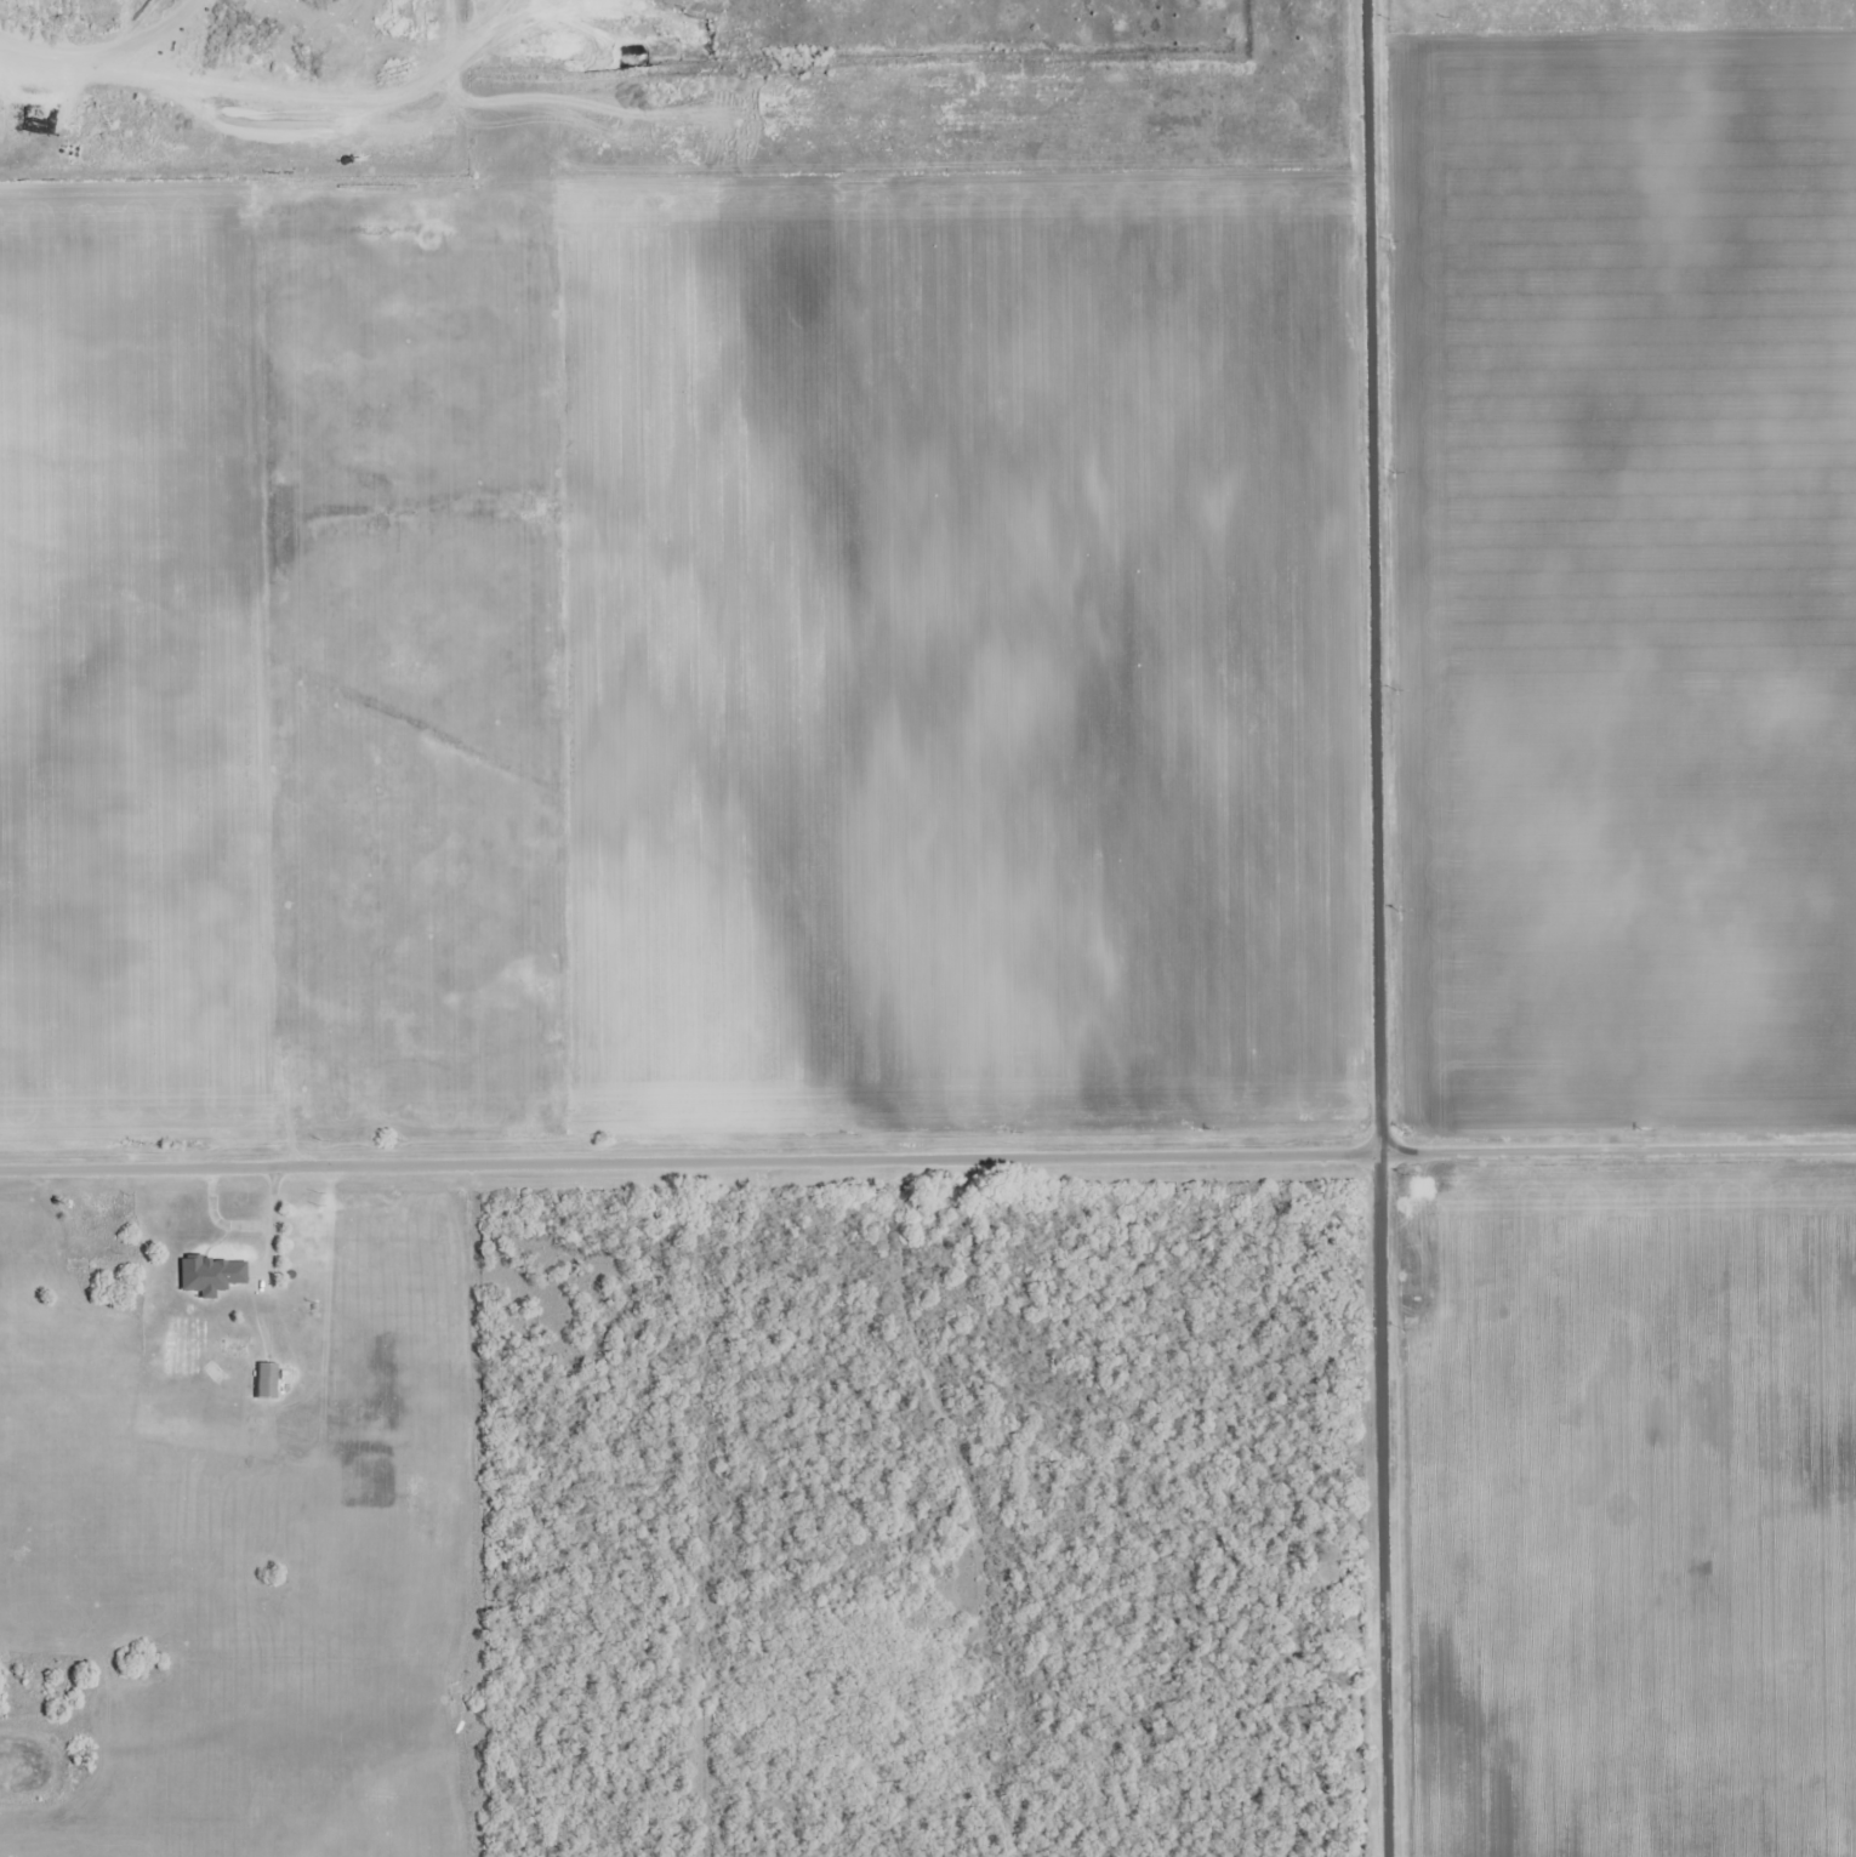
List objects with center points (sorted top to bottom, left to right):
road: (1377, 928)
road: (927, 1164)
building: (218, 1272)
building: (263, 1382)

